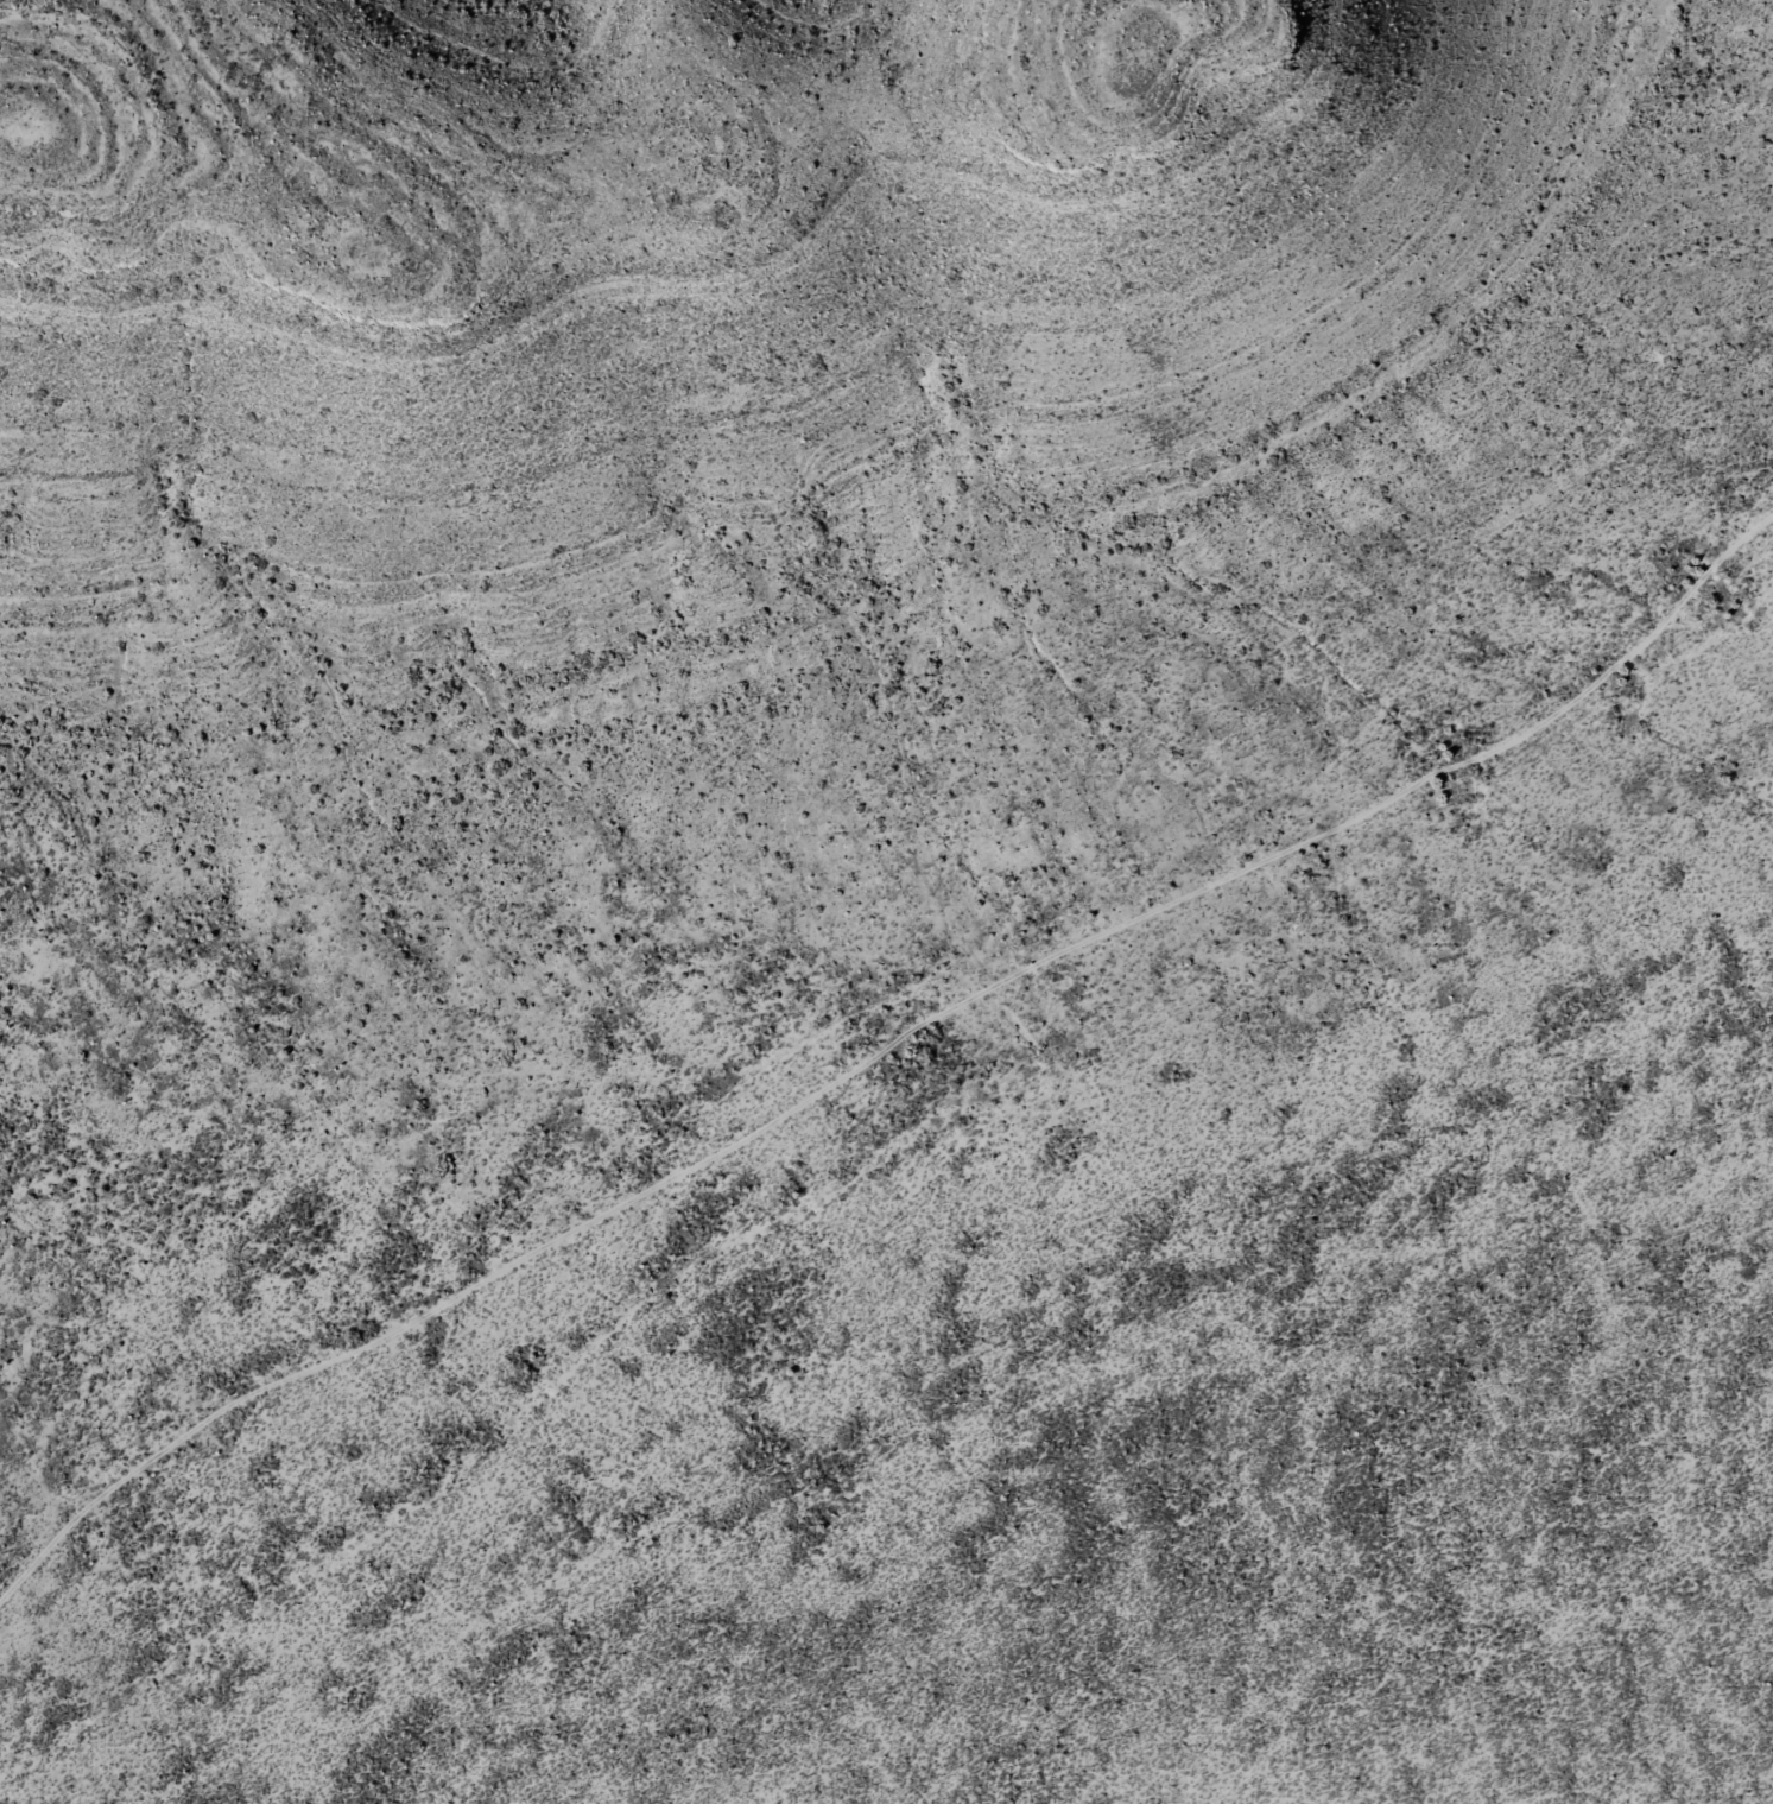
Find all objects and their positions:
road: (878, 1072)

